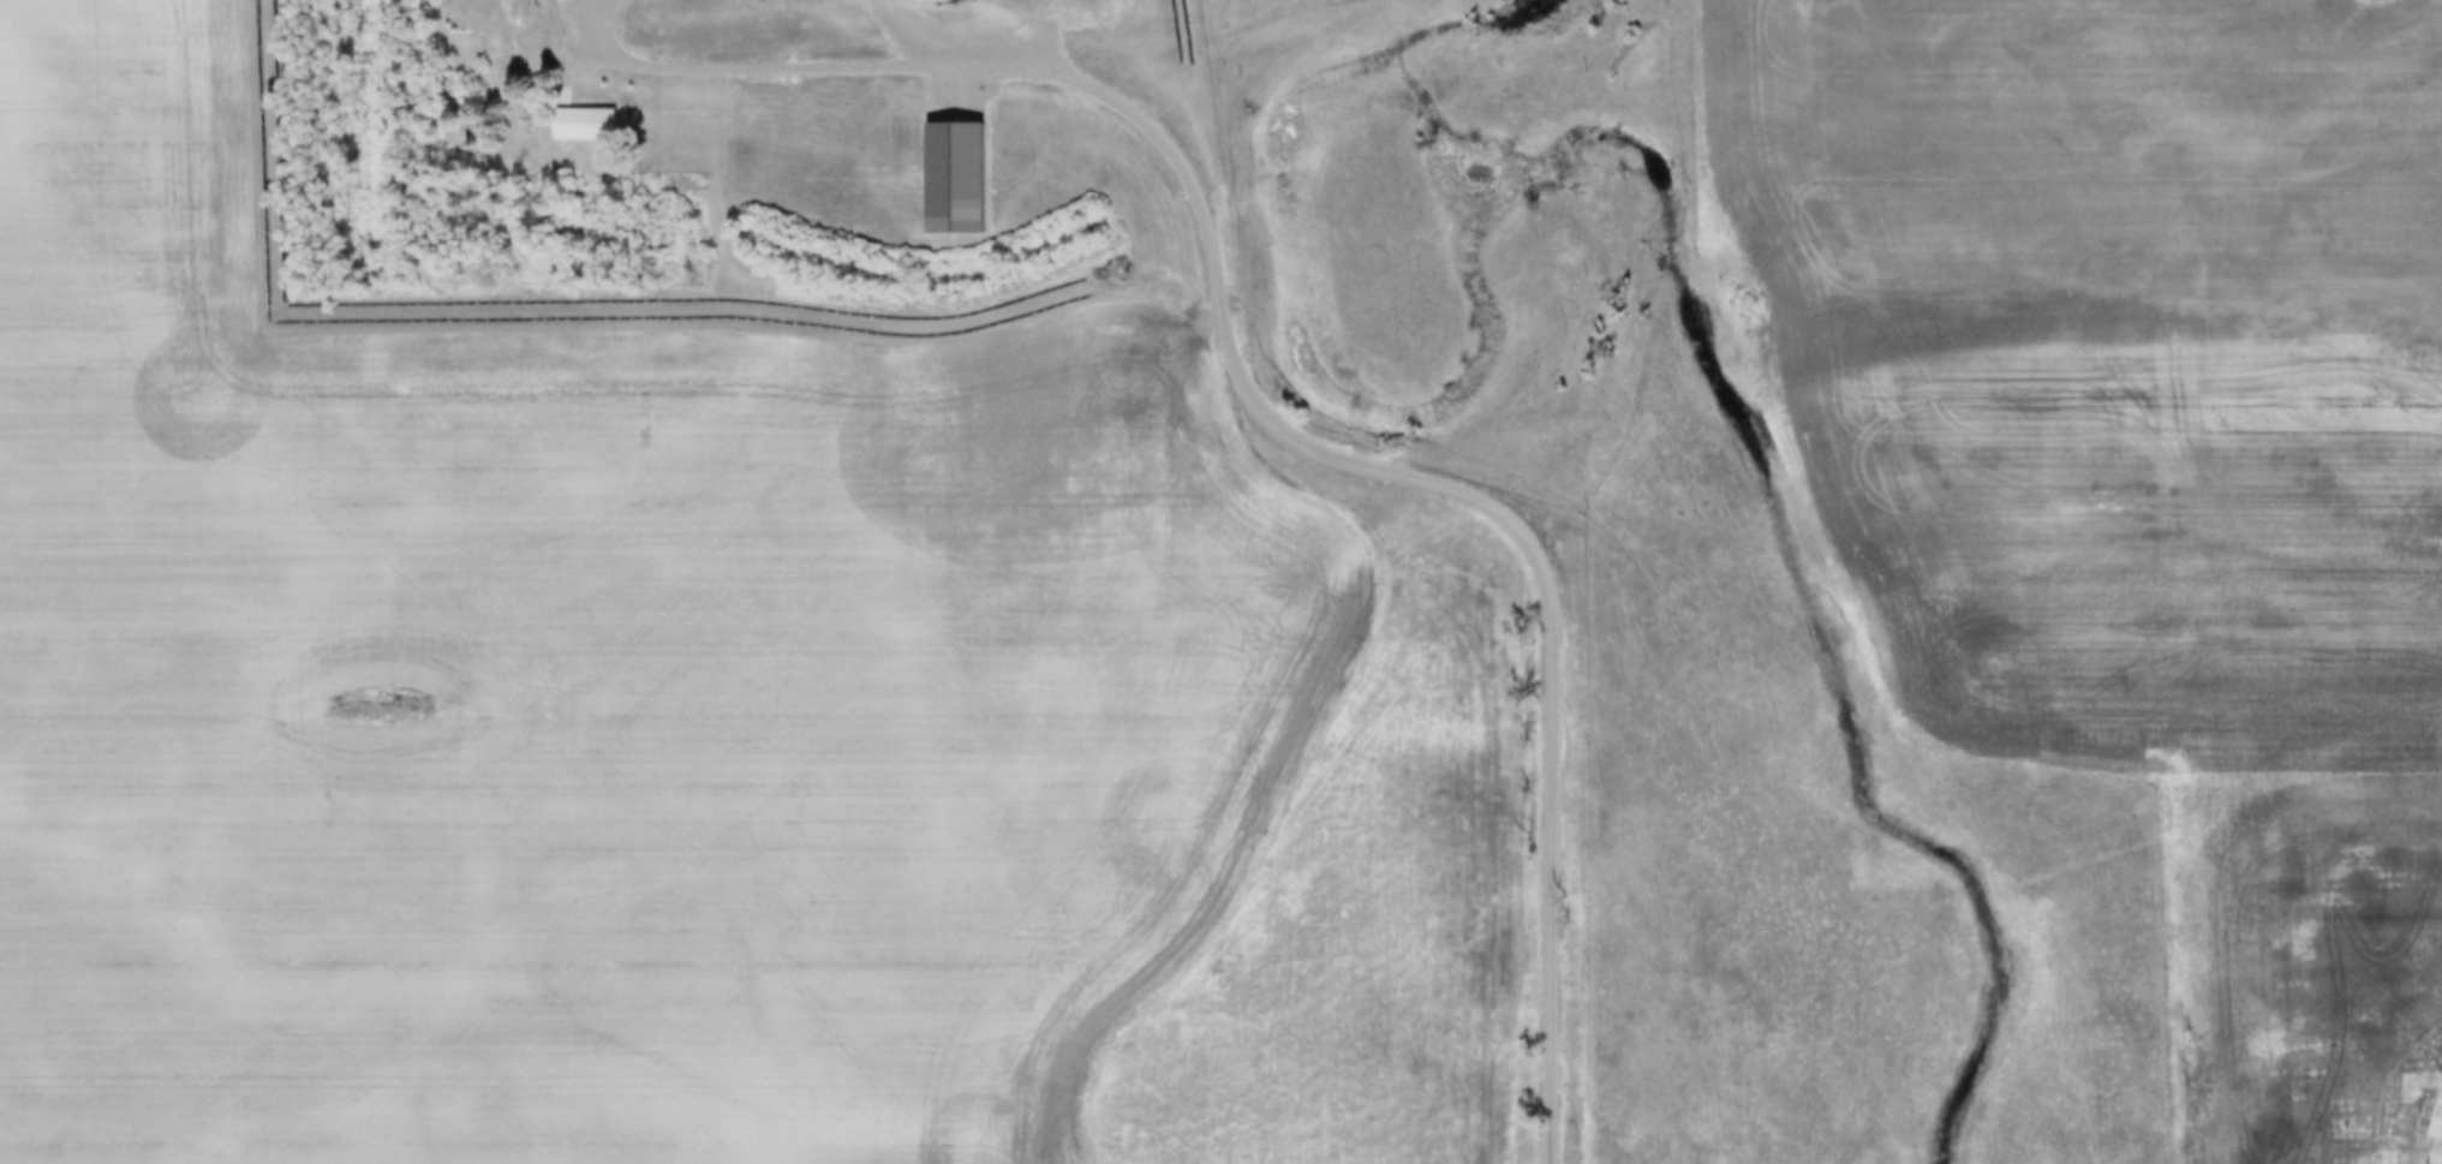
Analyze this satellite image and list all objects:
building: (581, 127)
building: (954, 178)
road: (1260, 408)

